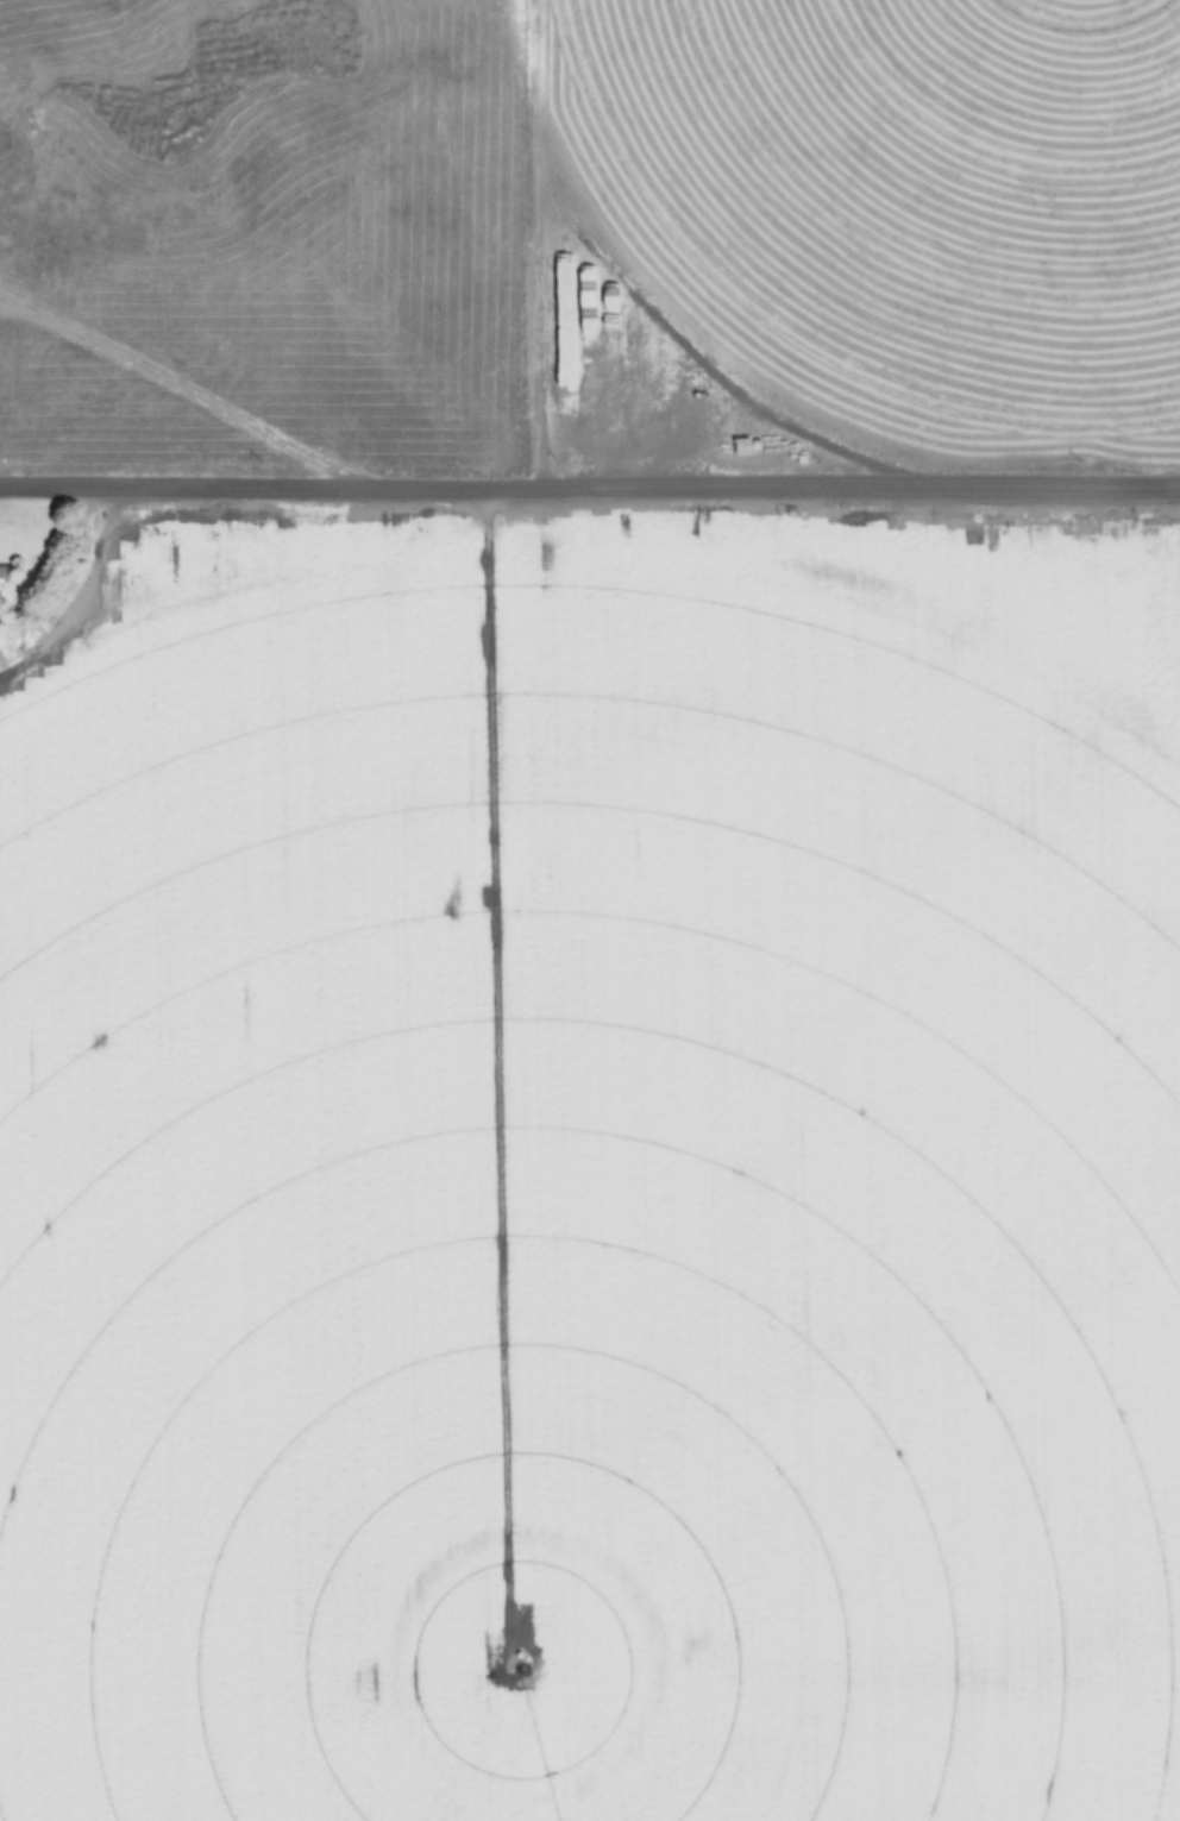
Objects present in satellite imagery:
building: (570, 358)
building: (596, 360)
building: (619, 364)
building: (640, 365)
building: (660, 368)
road: (589, 489)
building: (6, 573)

